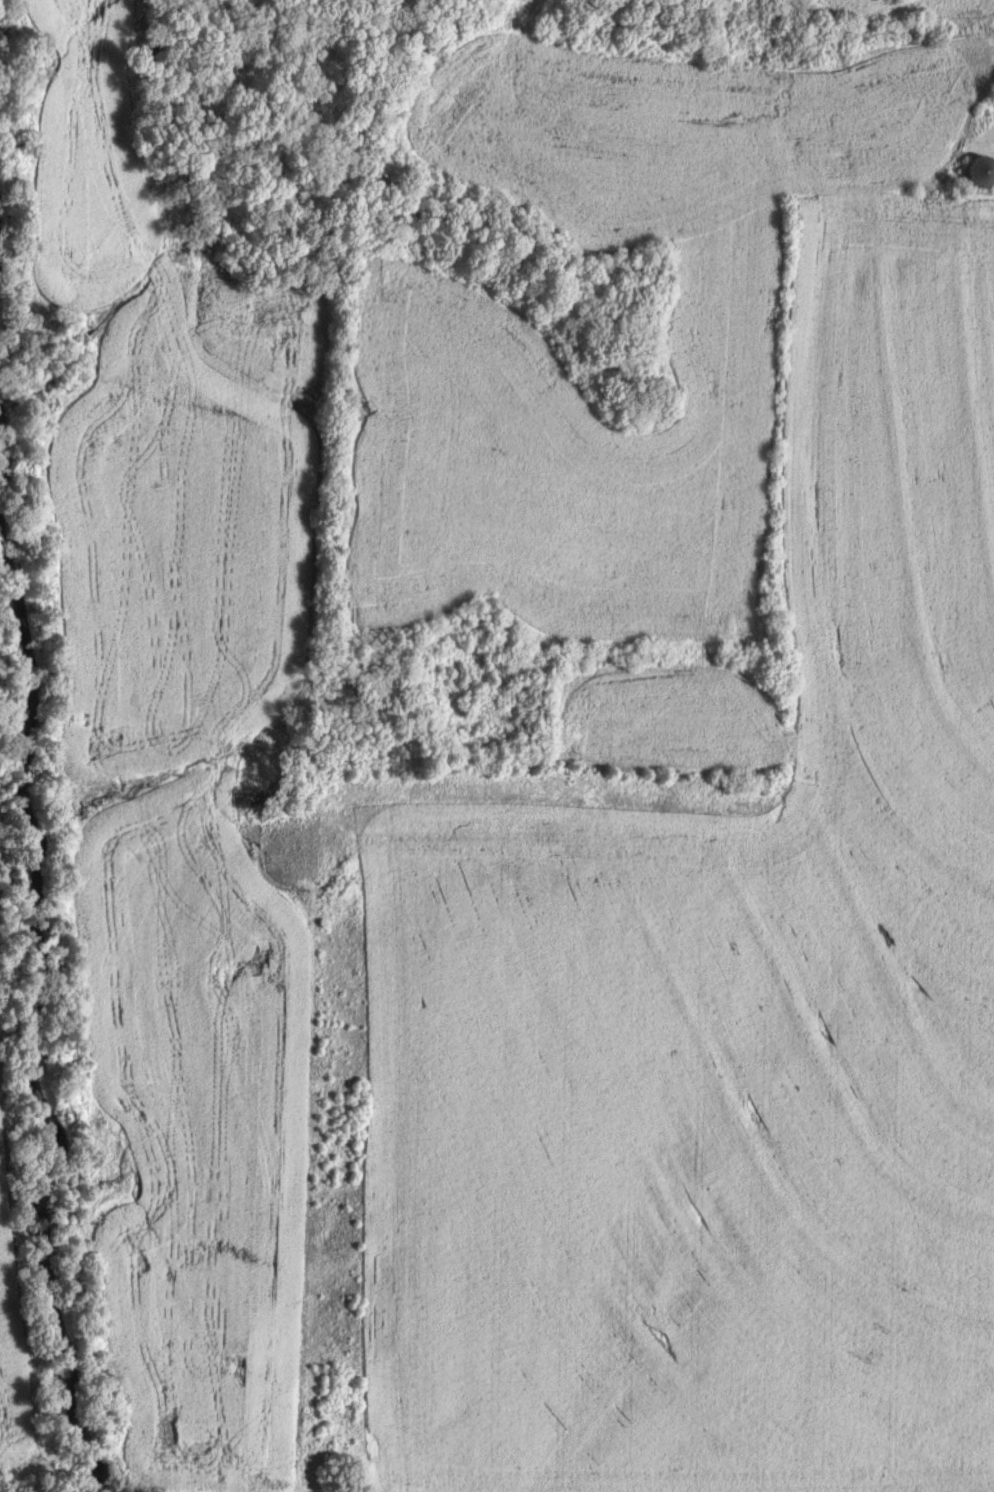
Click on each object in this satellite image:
building: (977, 172)
road: (985, 193)

